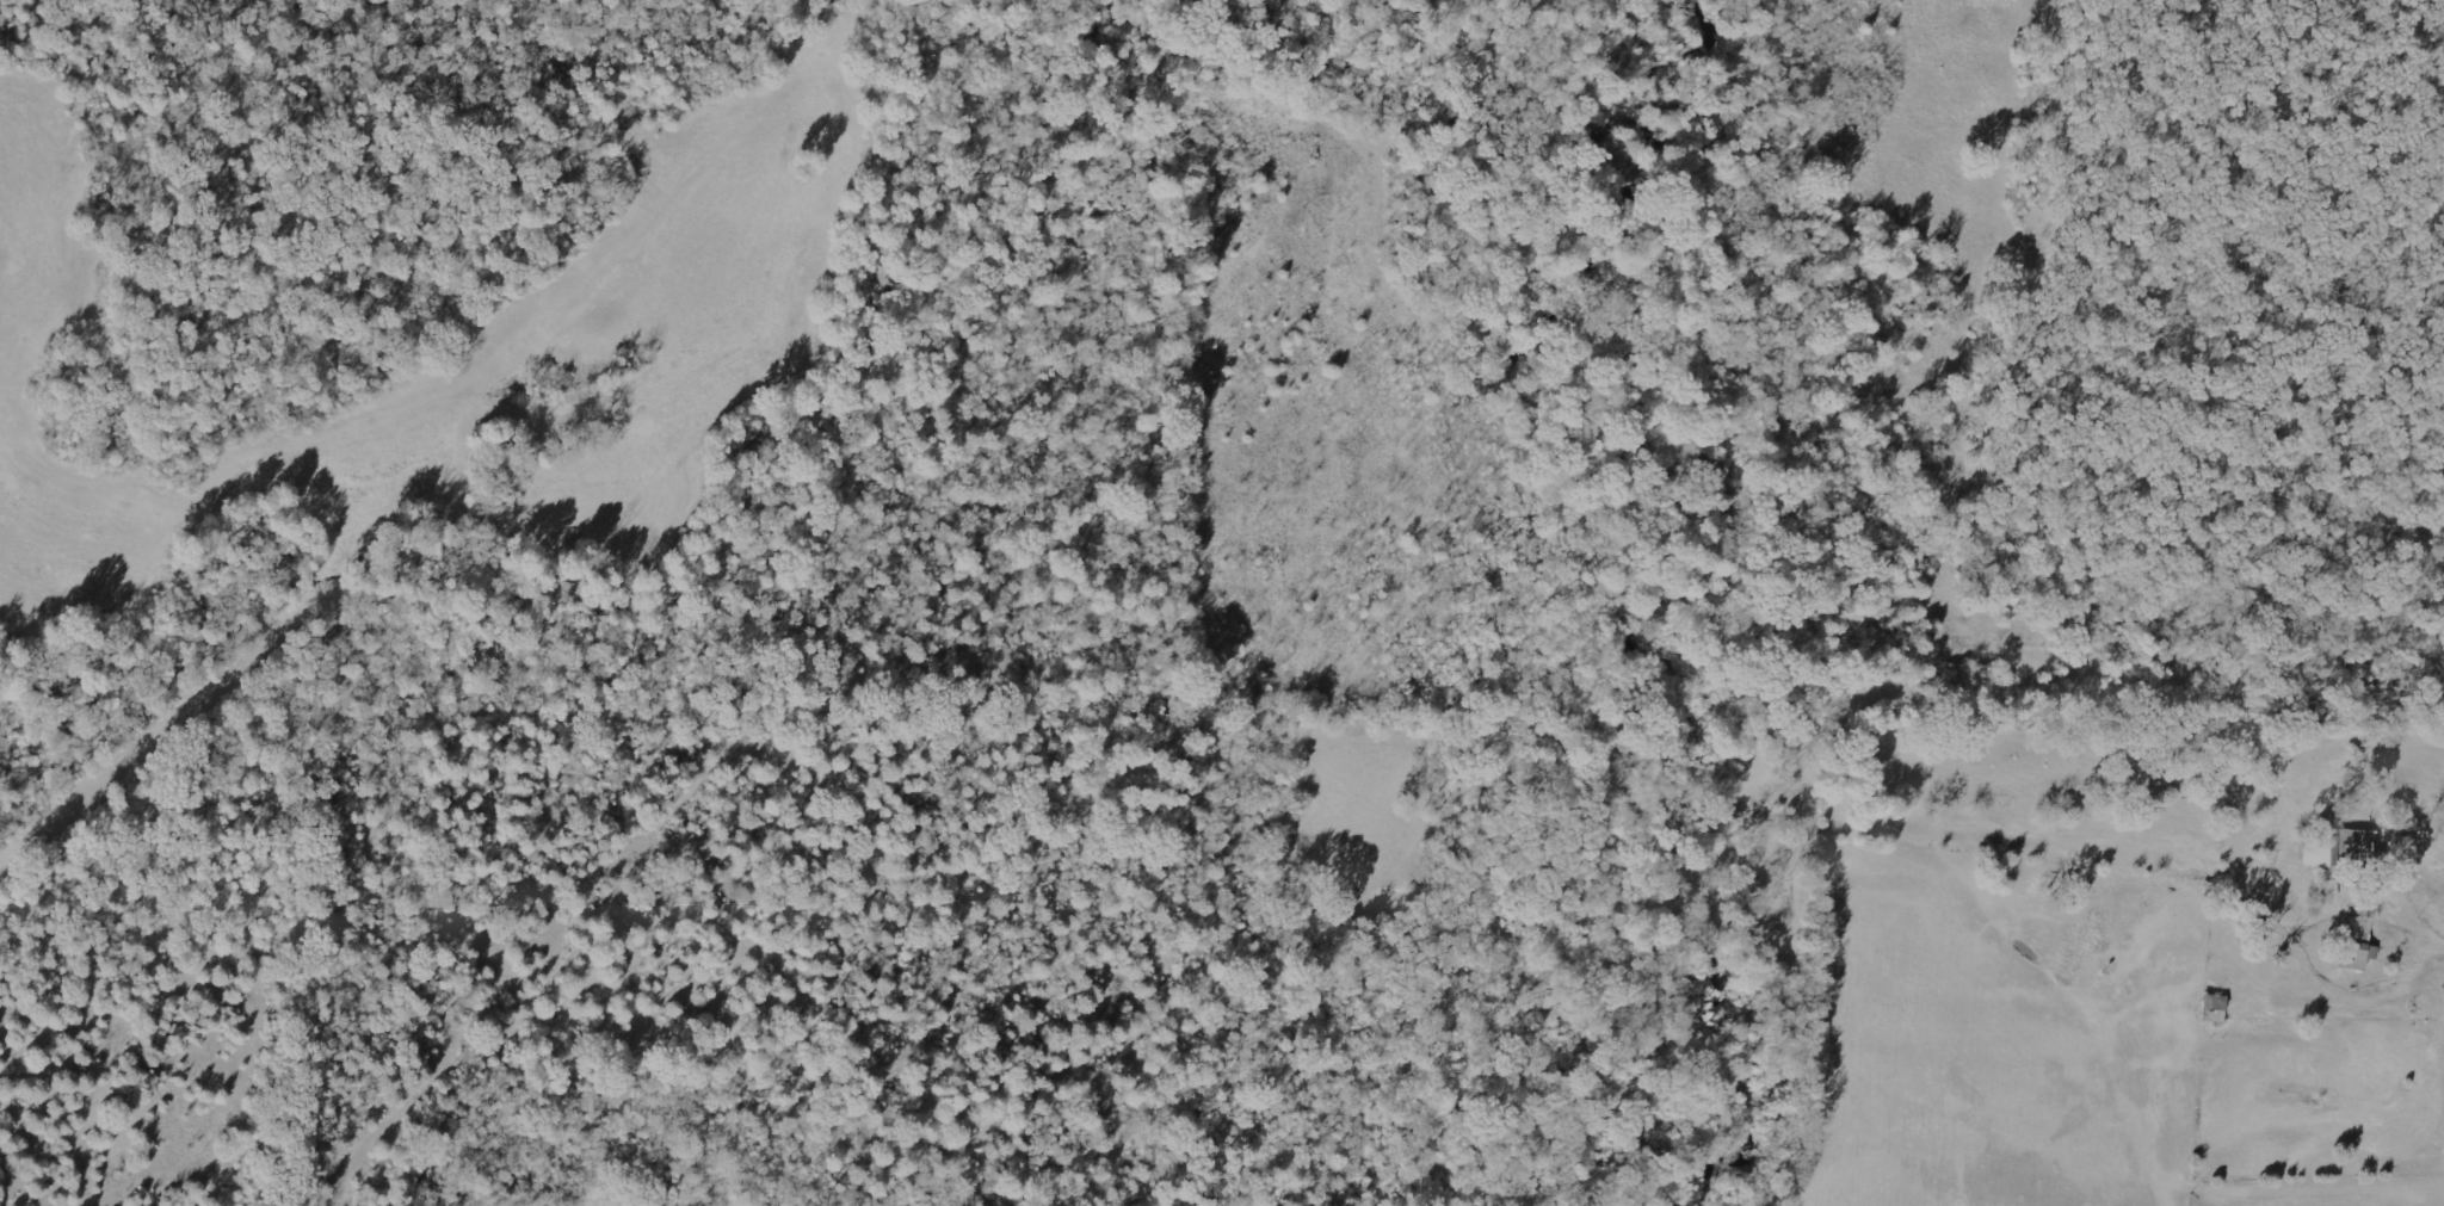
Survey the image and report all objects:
building: (2321, 855)
building: (2353, 946)
building: (2209, 1008)

